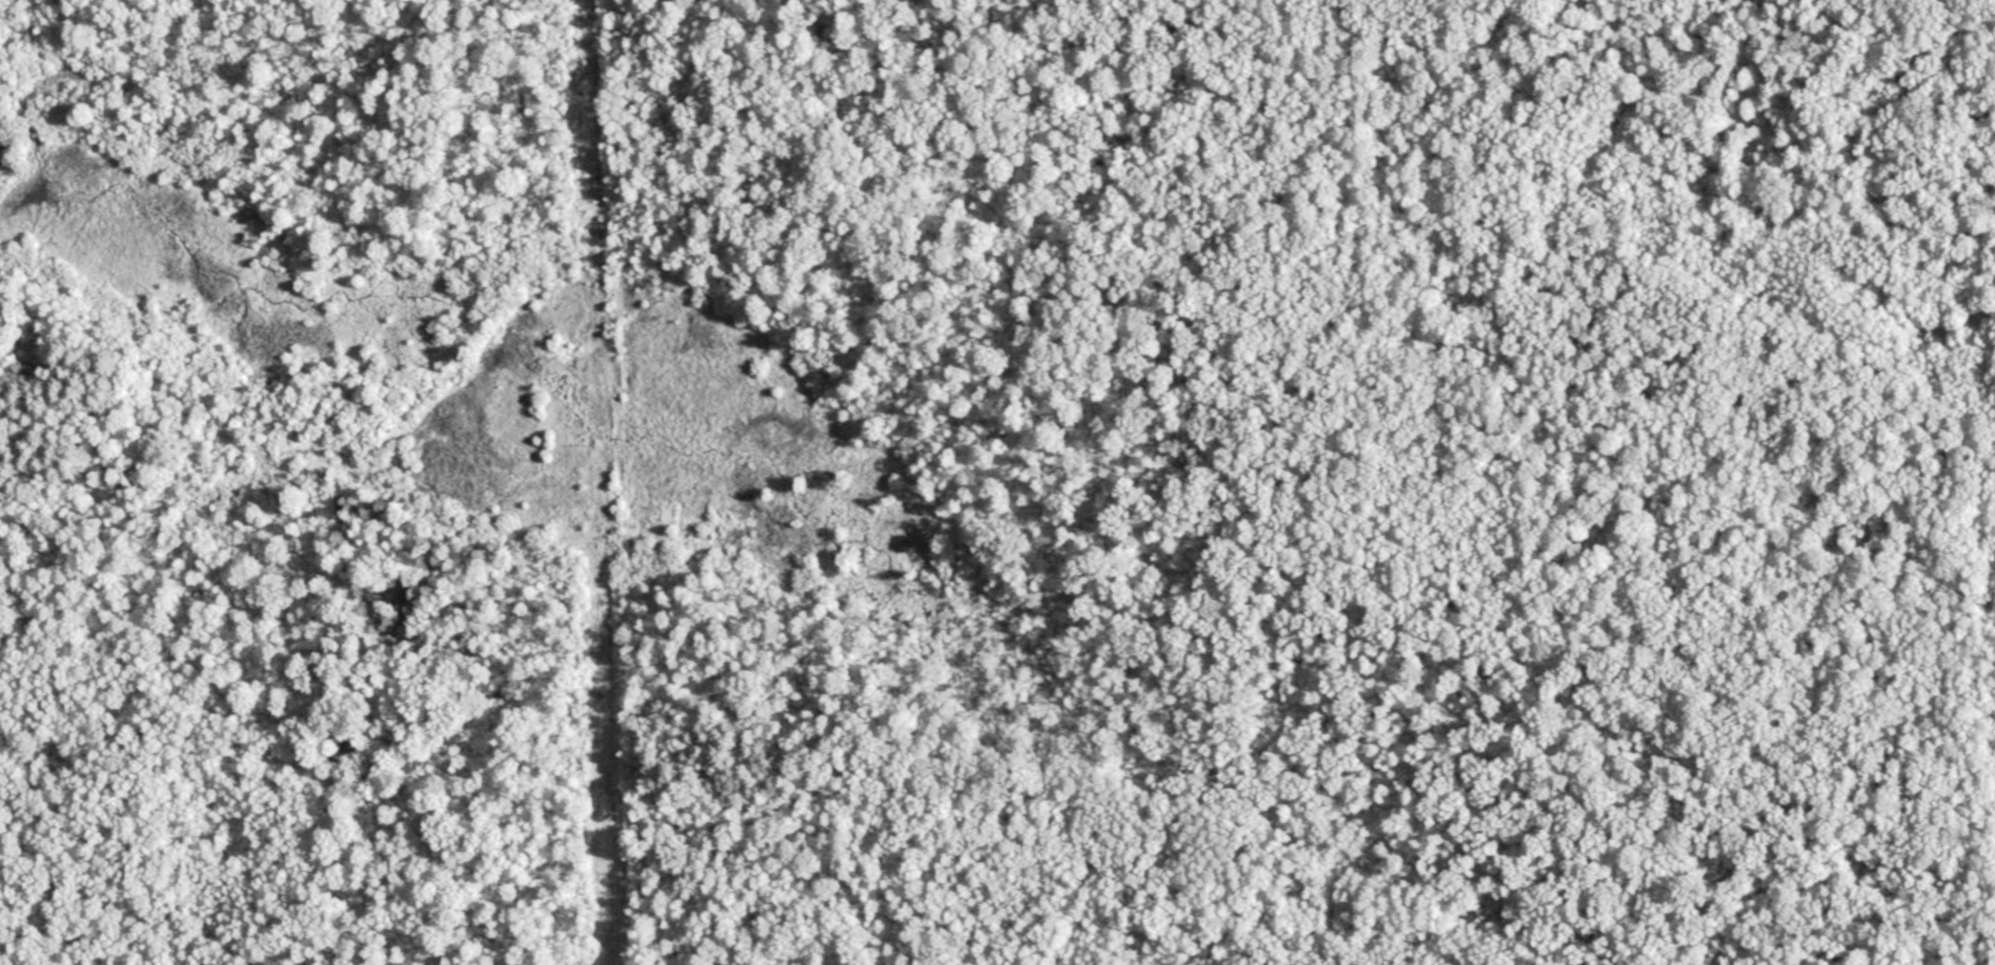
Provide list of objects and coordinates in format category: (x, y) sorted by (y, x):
park: (997, 482)

